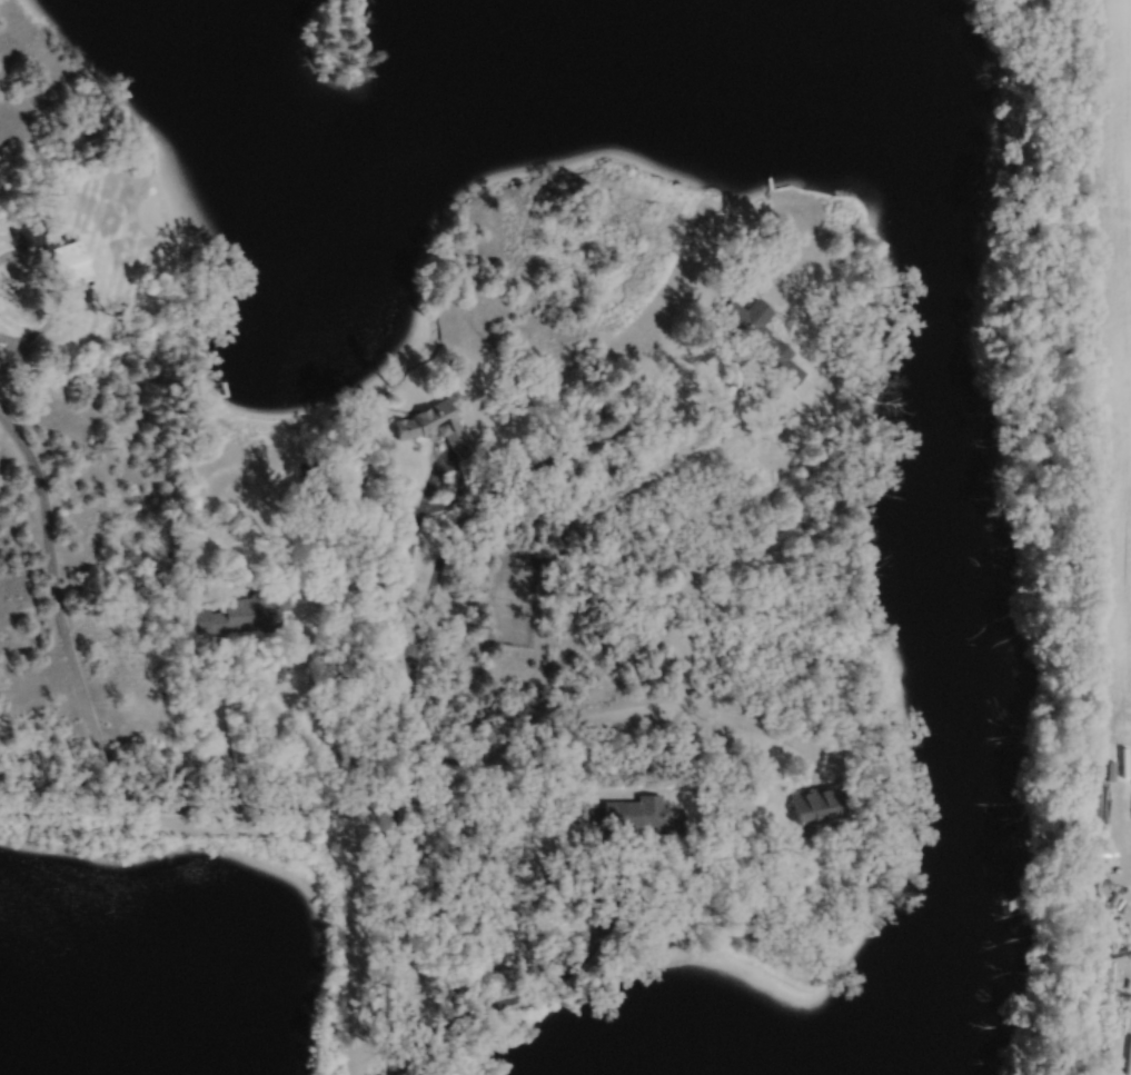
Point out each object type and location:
building: (776, 227)
building: (27, 231)
building: (66, 258)
road: (54, 296)
building: (758, 337)
road: (9, 347)
road: (732, 417)
building: (436, 422)
building: (364, 431)
road: (417, 517)
park: (514, 598)
building: (239, 613)
road: (218, 671)
road: (404, 709)
road: (621, 710)
road: (93, 734)
building: (1125, 768)
building: (815, 806)
road: (66, 807)
building: (628, 816)
building: (902, 849)
road: (572, 967)

